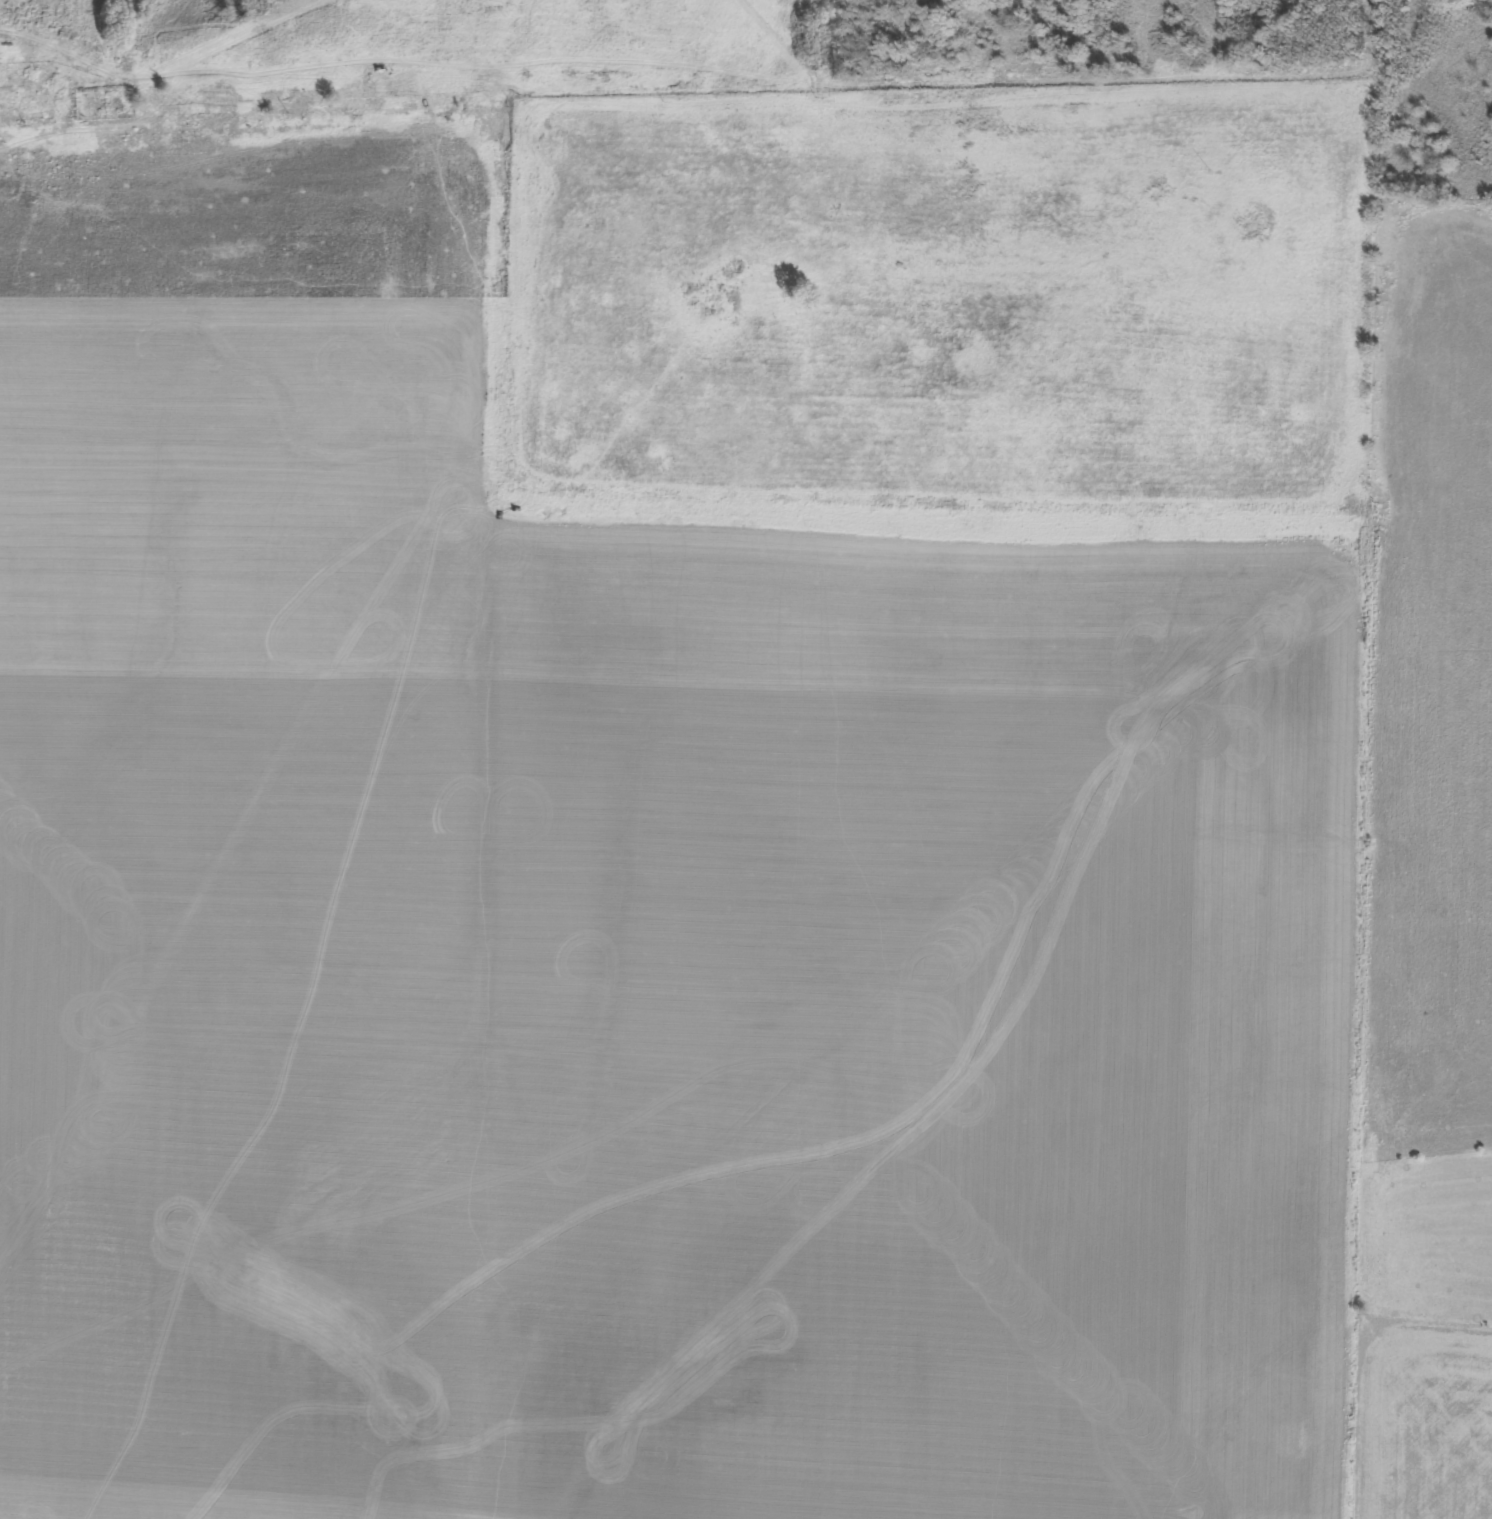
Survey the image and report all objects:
road: (377, 151)
road: (892, 268)

